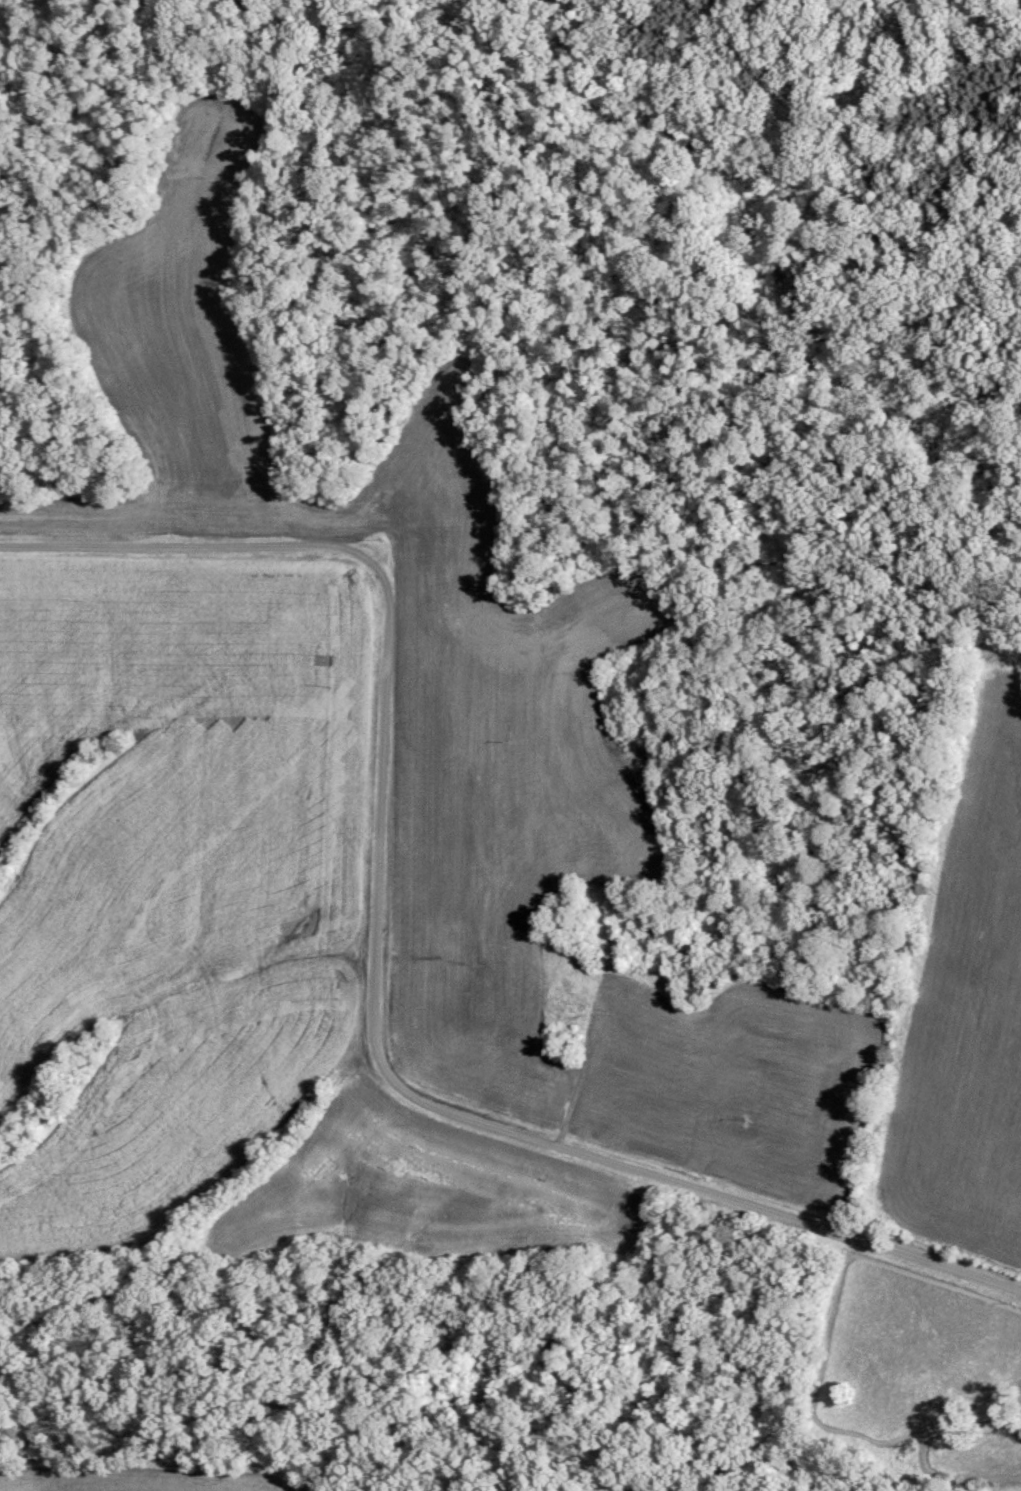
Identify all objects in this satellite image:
road: (382, 955)

